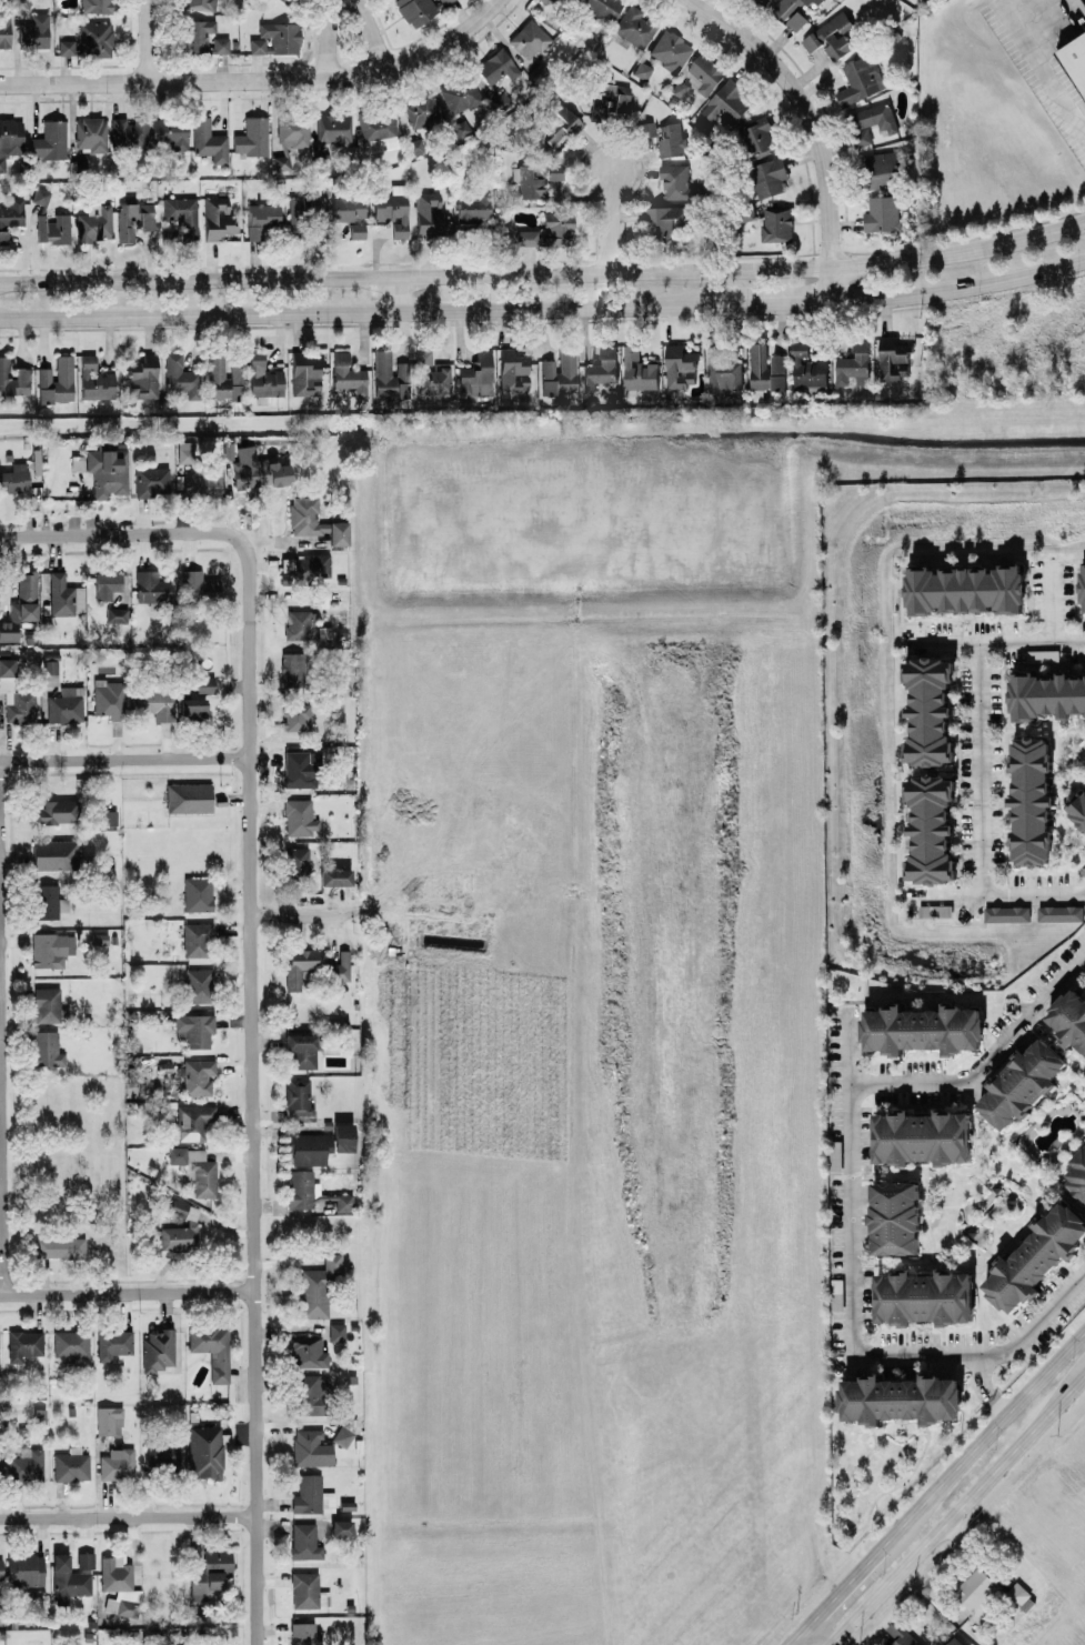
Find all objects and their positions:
building: (545, 0)
building: (766, 0)
building: (287, 1)
building: (815, 2)
building: (199, 3)
building: (96, 6)
road: (1019, 7)
building: (602, 8)
building: (785, 8)
building: (418, 9)
building: (797, 20)
building: (634, 24)
building: (4, 29)
building: (33, 30)
building: (199, 32)
road: (372, 33)
building: (831, 37)
building: (96, 38)
building: (275, 38)
road: (324, 38)
building: (529, 38)
road: (145, 39)
building: (220, 43)
building: (66, 46)
building: (670, 49)
building: (1075, 57)
building: (495, 66)
building: (642, 69)
building: (704, 72)
road: (1047, 74)
road: (259, 77)
building: (861, 80)
building: (679, 88)
building: (460, 93)
building: (610, 100)
building: (725, 104)
building: (421, 110)
building: (557, 121)
building: (870, 122)
road: (814, 126)
building: (645, 127)
building: (332, 128)
building: (378, 129)
building: (293, 130)
building: (129, 131)
building: (169, 132)
building: (91, 133)
building: (251, 136)
building: (759, 137)
building: (10, 138)
building: (50, 139)
building: (208, 140)
building: (671, 140)
building: (281, 161)
building: (79, 164)
building: (878, 169)
building: (770, 175)
building: (535, 177)
building: (677, 182)
building: (40, 194)
building: (348, 207)
building: (392, 208)
building: (472, 209)
building: (303, 211)
building: (429, 212)
building: (182, 213)
building: (882, 213)
building: (10, 214)
building: (217, 217)
building: (261, 218)
building: (664, 218)
building: (133, 219)
road: (613, 220)
building: (94, 222)
building: (777, 223)
building: (556, 227)
building: (52, 228)
building: (356, 229)
building: (526, 235)
road: (544, 272)
road: (961, 289)
road: (396, 292)
road: (768, 302)
road: (351, 310)
building: (893, 357)
building: (680, 364)
building: (853, 365)
building: (724, 368)
building: (765, 368)
building: (601, 369)
building: (639, 369)
building: (513, 370)
building: (807, 370)
building: (559, 371)
building: (305, 372)
building: (431, 372)
building: (476, 373)
building: (346, 374)
building: (390, 374)
building: (142, 375)
building: (181, 375)
building: (222, 377)
building: (13, 378)
building: (94, 379)
building: (264, 379)
building: (56, 380)
building: (184, 450)
building: (228, 450)
building: (77, 461)
building: (253, 471)
building: (107, 472)
building: (14, 477)
building: (150, 480)
building: (201, 480)
building: (314, 520)
road: (120, 532)
building: (312, 562)
building: (107, 584)
building: (198, 585)
building: (152, 588)
building: (1083, 588)
building: (965, 589)
building: (63, 594)
road: (1052, 599)
building: (20, 604)
building: (115, 614)
building: (302, 624)
road: (994, 641)
building: (7, 665)
building: (291, 668)
building: (50, 671)
building: (204, 682)
building: (1047, 695)
building: (109, 698)
building: (155, 701)
building: (66, 703)
building: (192, 706)
building: (930, 710)
building: (297, 715)
road: (124, 756)
building: (301, 768)
road: (979, 769)
building: (188, 796)
building: (1031, 800)
building: (1077, 809)
building: (58, 810)
building: (109, 816)
building: (299, 816)
building: (931, 830)
building: (54, 853)
building: (297, 862)
building: (334, 875)
road: (249, 883)
building: (198, 892)
road: (994, 894)
building: (49, 900)
building: (1059, 912)
road: (297, 913)
building: (1007, 913)
building: (197, 937)
building: (51, 947)
road: (1084, 955)
building: (300, 965)
building: (341, 965)
building: (199, 983)
building: (47, 1003)
building: (1068, 1017)
building: (194, 1029)
building: (922, 1029)
road: (0, 1042)
building: (47, 1047)
building: (302, 1050)
road: (984, 1061)
building: (198, 1075)
building: (1022, 1083)
building: (298, 1095)
building: (193, 1121)
building: (343, 1135)
building: (922, 1136)
building: (310, 1146)
building: (835, 1156)
building: (197, 1168)
building: (1076, 1174)
road: (847, 1180)
building: (312, 1191)
road: (2, 1196)
building: (895, 1217)
building: (181, 1227)
building: (60, 1246)
building: (1035, 1257)
building: (318, 1285)
road: (127, 1291)
building: (837, 1294)
building: (924, 1296)
building: (336, 1331)
building: (70, 1342)
building: (112, 1342)
building: (23, 1343)
building: (211, 1347)
building: (158, 1348)
building: (308, 1351)
road: (984, 1351)
road: (985, 1384)
building: (312, 1393)
building: (900, 1398)
building: (109, 1420)
building: (342, 1435)
road: (254, 1436)
road: (984, 1436)
building: (311, 1446)
building: (204, 1451)
building: (163, 1452)
building: (117, 1463)
building: (26, 1464)
building: (71, 1464)
building: (312, 1495)
road: (956, 1507)
road: (128, 1515)
building: (341, 1526)
building: (304, 1541)
building: (84, 1558)
building: (0, 1567)
building: (24, 1569)
building: (210, 1572)
building: (68, 1577)
building: (120, 1583)
road: (844, 1583)
building: (975, 1588)
building: (308, 1589)
building: (1015, 1594)
building: (304, 1633)
road: (796, 1634)
road: (818, 1634)
building: (898, 1635)
building: (954, 1642)
road: (828, 1644)

